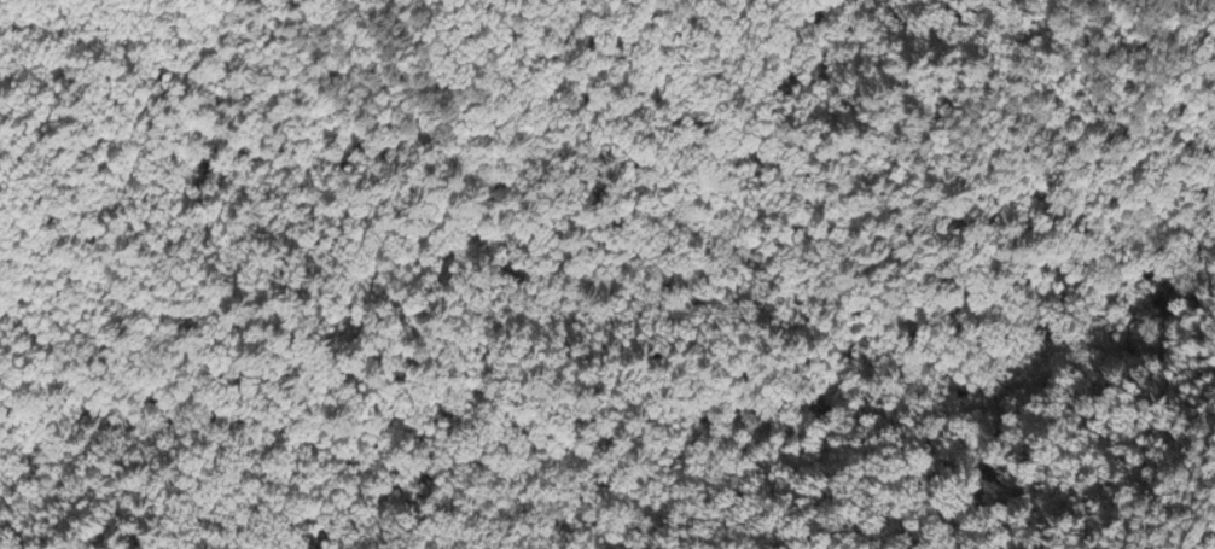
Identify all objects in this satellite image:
road: (845, 341)

